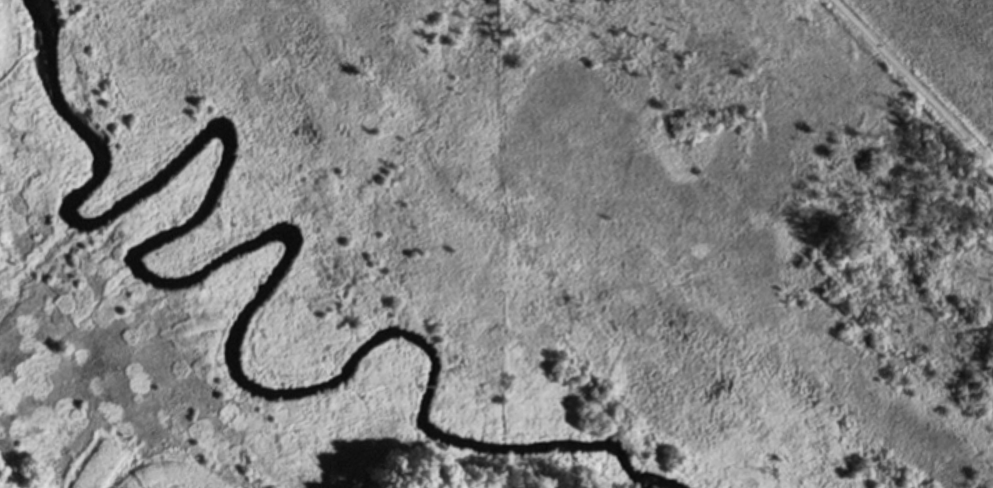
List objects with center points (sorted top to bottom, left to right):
road: (912, 83)
crop: (1, 269)

